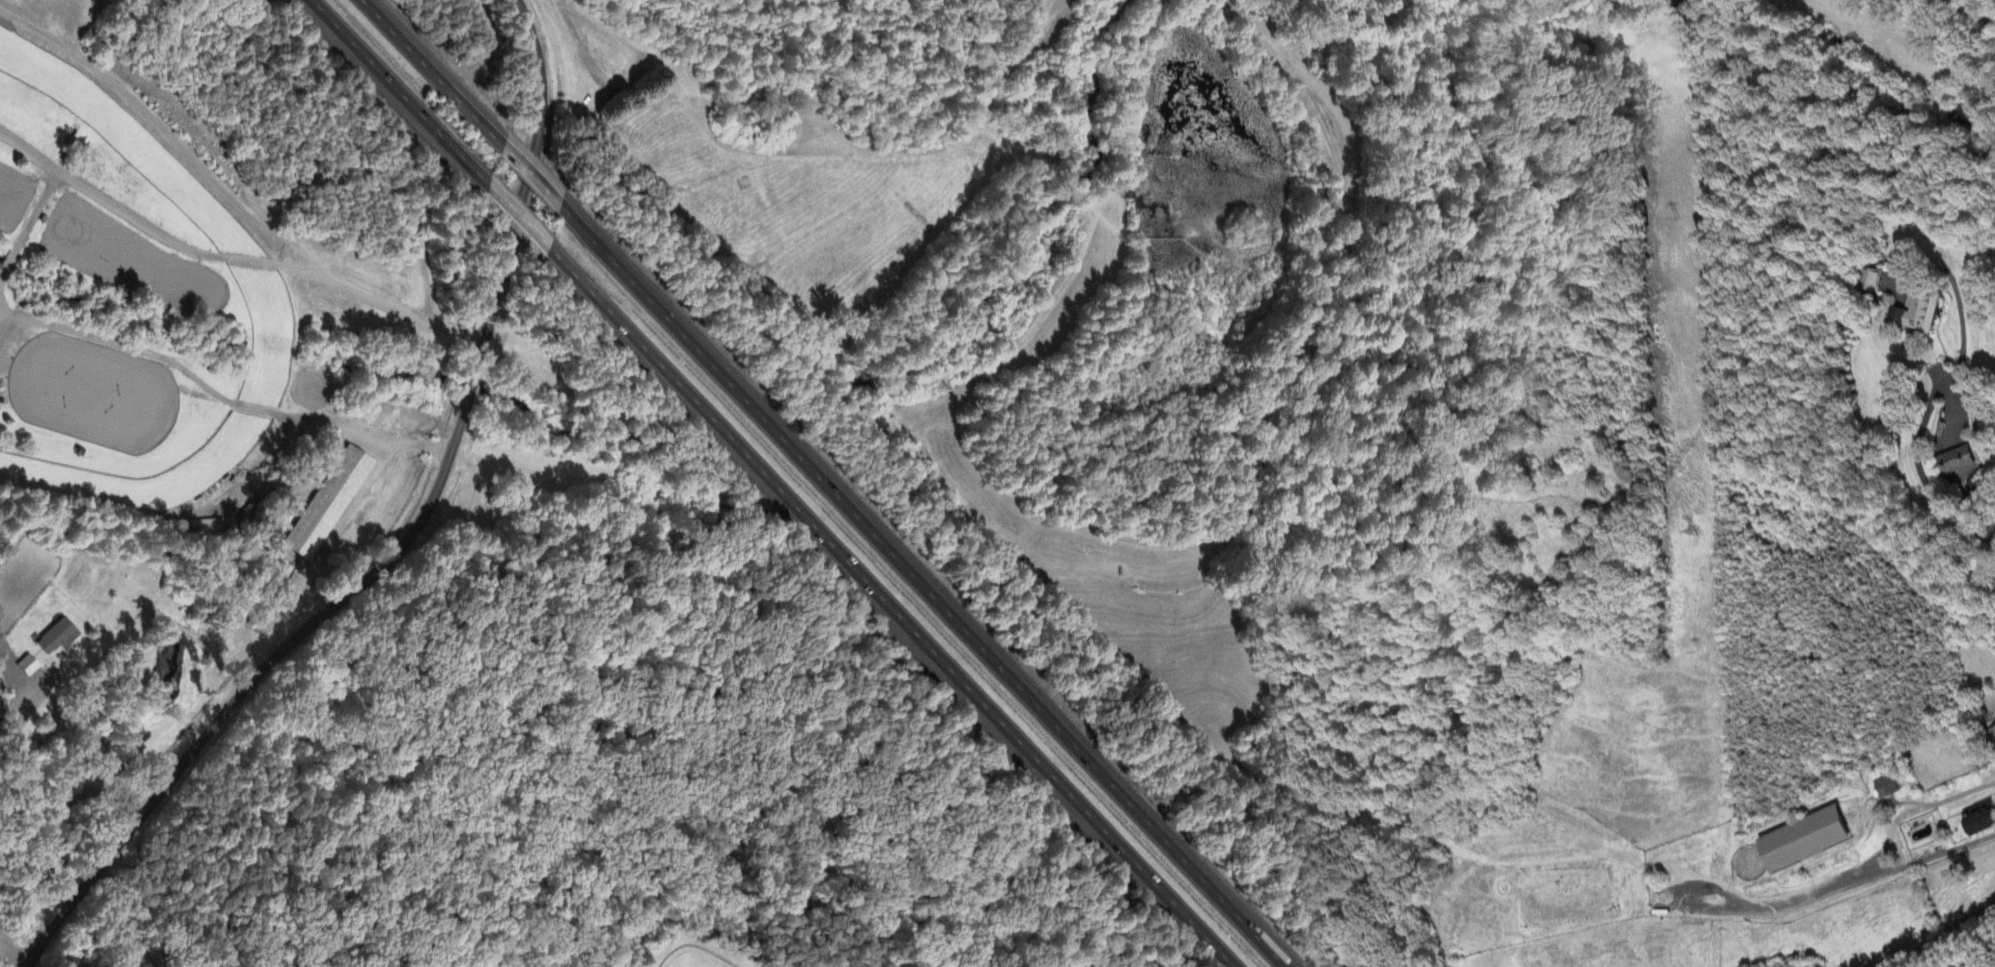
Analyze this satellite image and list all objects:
road: (525, 2)
road: (435, 76)
road: (629, 81)
road: (398, 94)
road: (160, 126)
road: (534, 177)
road: (517, 216)
road: (30, 228)
road: (233, 258)
road: (311, 420)
road: (1920, 472)
building: (328, 505)
building: (201, 528)
road: (406, 547)
road: (925, 584)
road: (895, 608)
building: (58, 638)
building: (27, 663)
road: (21, 720)
building: (1991, 738)
building: (1885, 789)
building: (1981, 818)
building: (1807, 840)
road: (1883, 849)
road: (1789, 894)
road: (13, 952)

